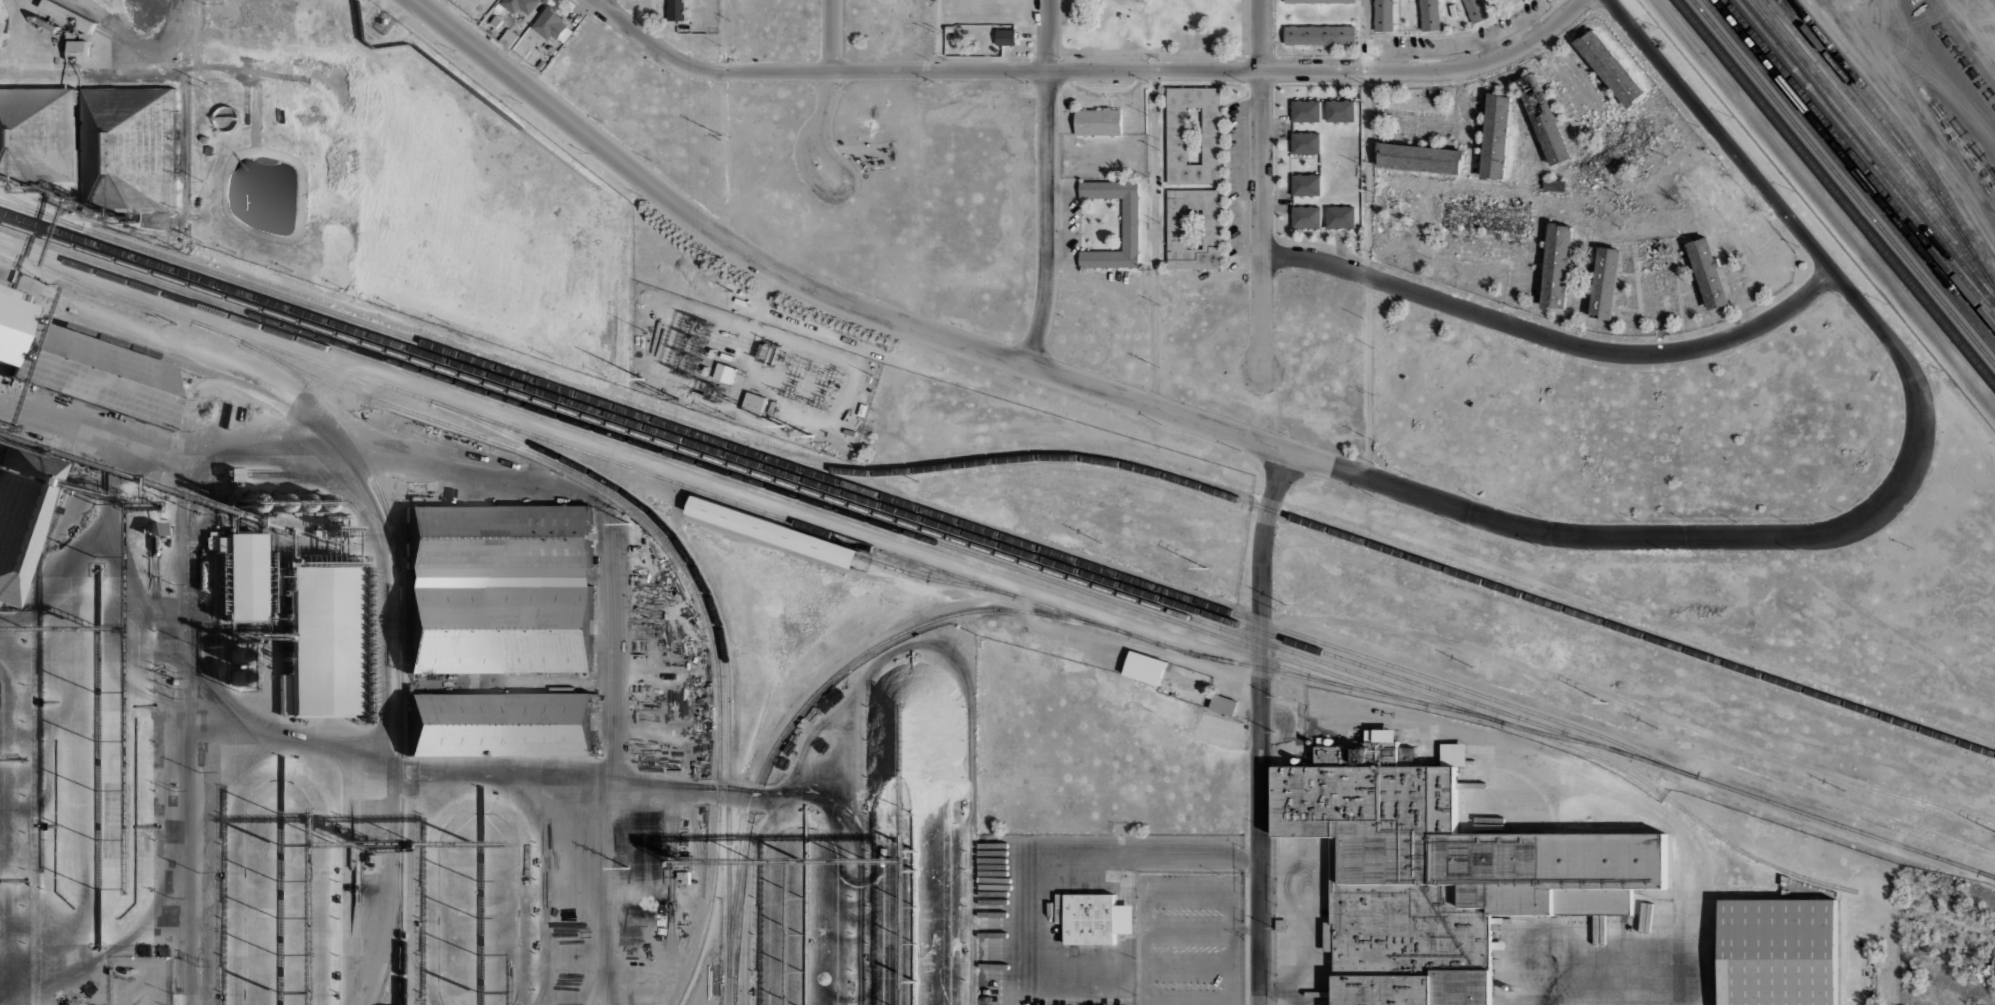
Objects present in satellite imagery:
building: (1535, 0)
building: (1320, 1)
building: (520, 5)
building: (498, 8)
building: (676, 9)
building: (1476, 10)
building: (1429, 14)
building: (70, 15)
building: (1383, 15)
building: (496, 21)
building: (47, 23)
building: (552, 26)
park: (1150, 30)
road: (723, 35)
road: (1257, 35)
building: (1320, 35)
road: (936, 36)
road: (1046, 36)
building: (1005, 37)
building: (508, 38)
building: (80, 52)
road: (1149, 57)
road: (830, 69)
building: (1610, 69)
road: (808, 71)
road: (1152, 71)
road: (1429, 71)
railway: (1850, 86)
building: (1342, 112)
building: (223, 113)
railway: (1861, 113)
building: (1306, 114)
building: (1541, 118)
road: (1904, 119)
building: (1098, 122)
building: (38, 134)
building: (1193, 136)
building: (1495, 136)
railway: (1869, 136)
railway: (1902, 139)
building: (1303, 145)
building: (129, 150)
railway: (1870, 150)
railway: (1864, 157)
building: (1419, 158)
railway: (1859, 163)
railway: (1853, 170)
road: (1364, 173)
railway: (1848, 176)
railway: (1842, 183)
building: (1303, 185)
building: (1553, 185)
railway: (1834, 193)
road: (835, 194)
railway: (39, 210)
building: (1304, 214)
building: (1342, 215)
road: (1258, 217)
road: (1048, 220)
building: (1129, 224)
road: (1792, 226)
building: (1193, 229)
road: (1150, 238)
railway: (128, 264)
building: (1557, 267)
building: (1708, 273)
building: (1605, 283)
building: (9, 329)
road: (1551, 337)
power tower: (754, 349)
building: (725, 373)
power substation: (749, 373)
building: (100, 374)
power tower: (642, 378)
railway: (239, 382)
road: (1125, 398)
power tower: (677, 400)
building: (754, 403)
power tower: (783, 426)
power tower: (813, 436)
railway: (673, 466)
railway: (712, 469)
railway: (850, 485)
railway: (736, 504)
building: (23, 515)
power tower: (629, 523)
building: (774, 532)
railway: (942, 537)
railway: (996, 545)
railway: (667, 546)
railway: (1378, 546)
building: (216, 560)
railway: (881, 567)
power tower: (1206, 568)
building: (244, 574)
building: (499, 588)
railway: (400, 614)
railway: (717, 623)
building: (325, 641)
building: (1144, 667)
railway: (826, 681)
power tower: (1606, 702)
building: (1224, 704)
road: (1640, 708)
building: (501, 725)
road: (1261, 726)
road: (1637, 743)
railway: (1679, 808)
power tower: (628, 867)
building: (1444, 872)
railway: (1987, 874)
railway: (355, 877)
building: (1058, 908)
building: (1124, 920)
building: (1090, 921)
railway: (393, 935)
parking lot: (1188, 938)
building: (1779, 951)
power substation: (140, 980)

